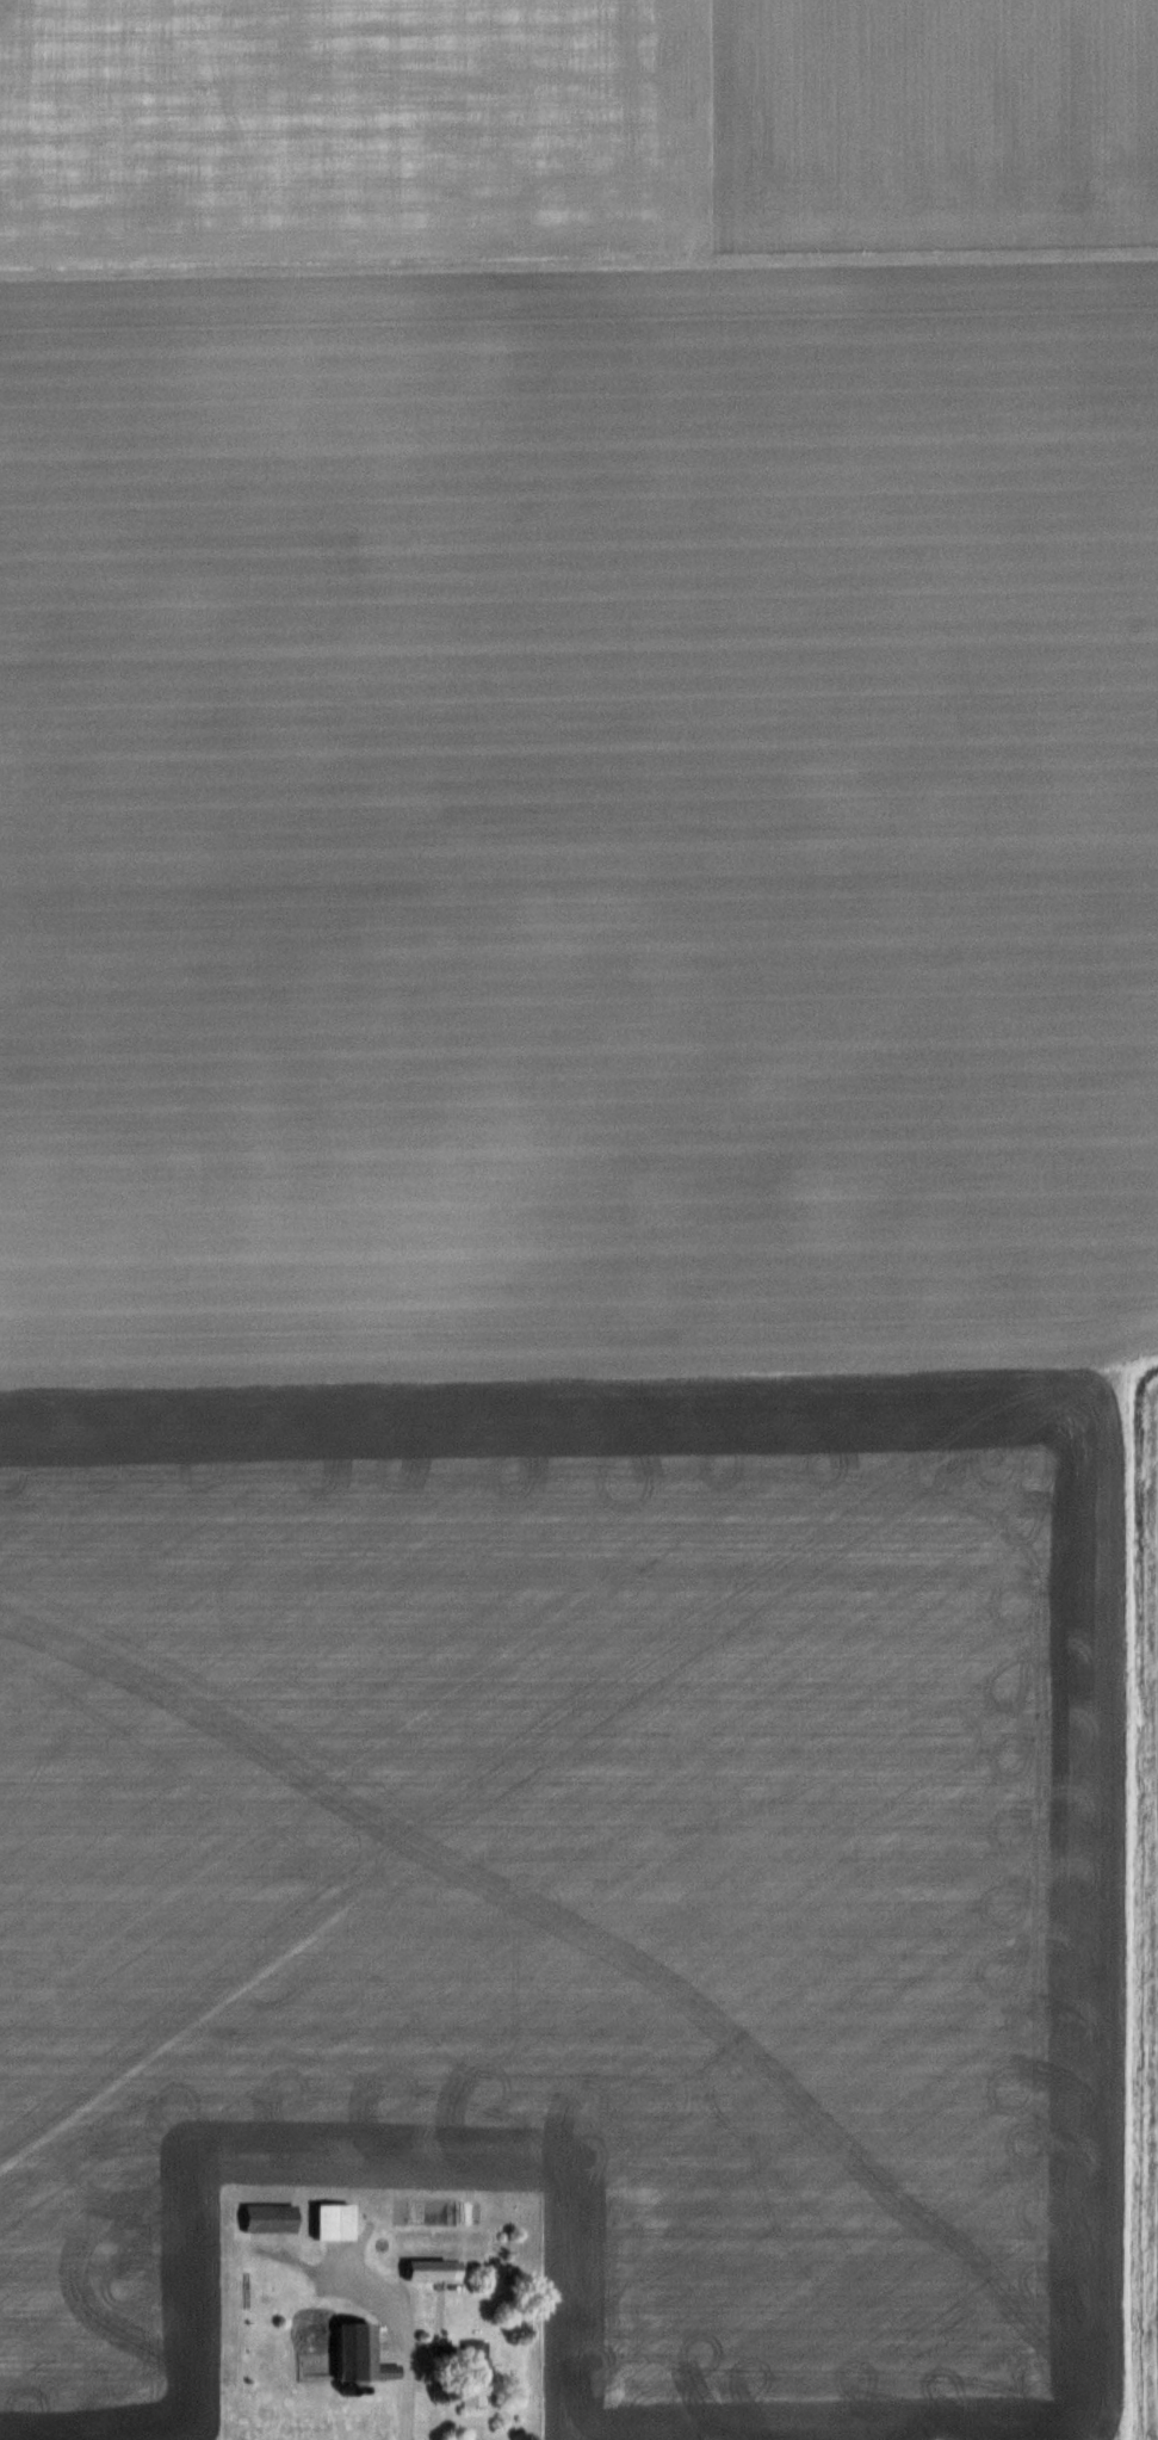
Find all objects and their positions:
building: (273, 2216)
building: (338, 2218)
building: (433, 2267)
road: (401, 2340)
building: (363, 2351)
building: (476, 2371)

